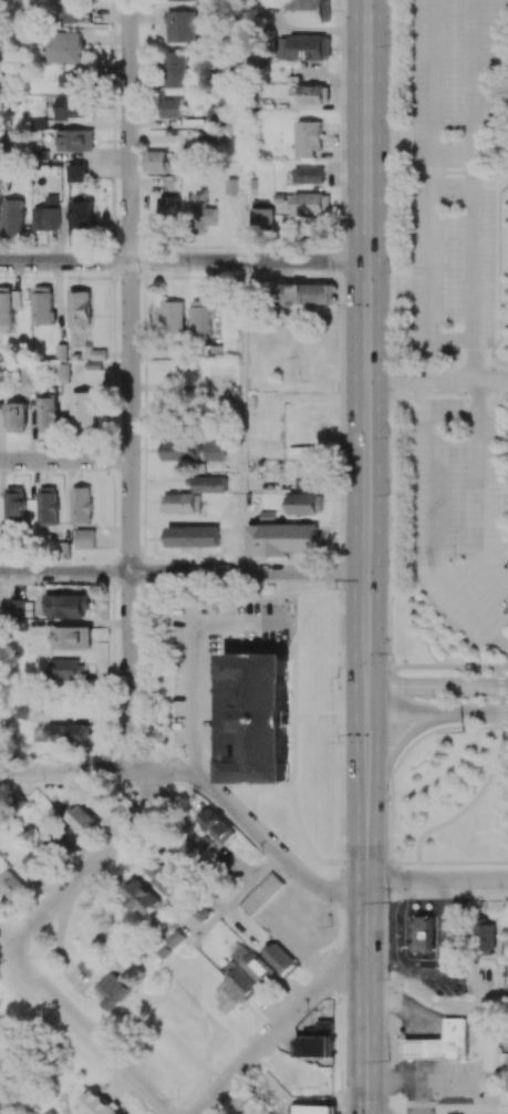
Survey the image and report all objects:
building: (180, 0)
building: (66, 11)
building: (310, 11)
building: (184, 25)
building: (64, 48)
building: (304, 48)
building: (175, 70)
building: (70, 81)
building: (315, 94)
building: (73, 107)
building: (170, 109)
building: (216, 115)
building: (38, 124)
building: (214, 137)
building: (308, 138)
building: (74, 141)
building: (156, 162)
building: (76, 173)
road: (241, 174)
building: (309, 175)
parking lot: (456, 179)
building: (170, 180)
building: (230, 186)
road: (476, 188)
road: (431, 192)
building: (311, 204)
building: (204, 209)
building: (168, 214)
building: (13, 217)
building: (46, 218)
building: (80, 218)
building: (262, 220)
road: (183, 261)
building: (305, 295)
building: (8, 306)
building: (42, 306)
building: (80, 308)
building: (173, 317)
building: (200, 320)
building: (61, 352)
road: (491, 363)
building: (0, 370)
building: (27, 373)
building: (63, 373)
road: (437, 378)
road: (131, 385)
road: (480, 398)
road: (365, 409)
building: (83, 411)
building: (48, 414)
building: (15, 416)
road: (241, 416)
road: (429, 431)
road: (396, 432)
building: (180, 451)
building: (215, 451)
road: (65, 461)
building: (308, 476)
building: (208, 484)
building: (180, 503)
building: (14, 504)
building: (307, 504)
building: (48, 505)
building: (81, 505)
parking lot: (460, 517)
building: (193, 536)
building: (84, 539)
building: (282, 539)
road: (183, 573)
building: (69, 606)
building: (22, 608)
road: (196, 656)
road: (436, 666)
building: (69, 669)
traffic signals: (365, 687)
road: (436, 687)
building: (23, 710)
road: (436, 715)
building: (257, 716)
traffic signals: (365, 716)
power tower: (463, 731)
building: (64, 733)
road: (395, 750)
road: (70, 771)
road: (477, 796)
building: (76, 812)
road: (253, 825)
building: (218, 826)
building: (50, 840)
building: (208, 843)
building: (34, 859)
road: (92, 866)
building: (164, 877)
road: (436, 880)
building: (13, 887)
building: (261, 893)
road: (239, 894)
building: (142, 895)
power tower: (390, 906)
building: (425, 932)
building: (488, 937)
building: (177, 939)
road: (261, 956)
building: (282, 960)
building: (253, 965)
road: (366, 966)
building: (87, 967)
building: (241, 981)
building: (115, 990)
road: (427, 997)
building: (230, 998)
road: (276, 1029)
building: (322, 1029)
road: (91, 1035)
building: (440, 1043)
building: (314, 1046)
building: (507, 1073)
building: (97, 1105)
building: (315, 1110)
building: (48, 1112)

